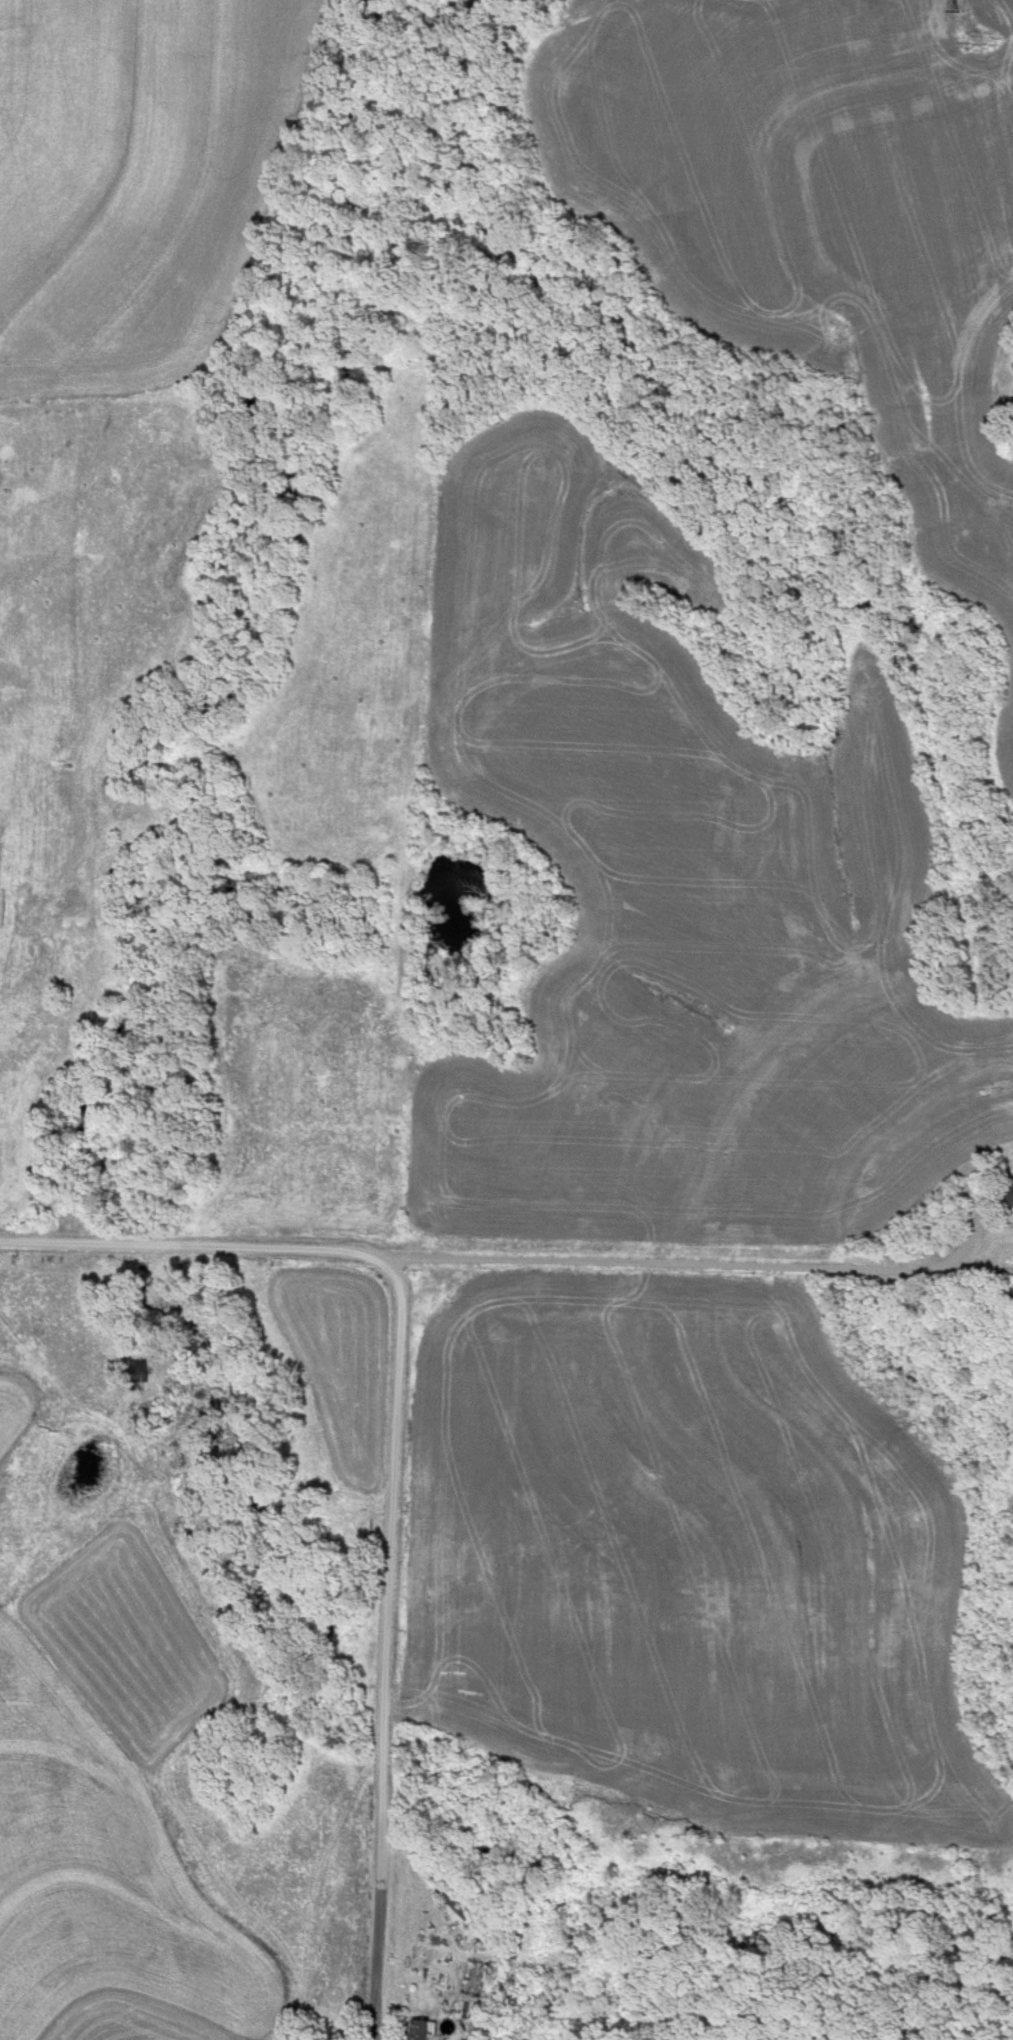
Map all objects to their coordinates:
power tower: (950, 2)
building: (1008, 1192)
road: (201, 1248)
road: (703, 1268)
road: (386, 1653)
building: (450, 1905)
building: (469, 1979)
building: (413, 2029)

